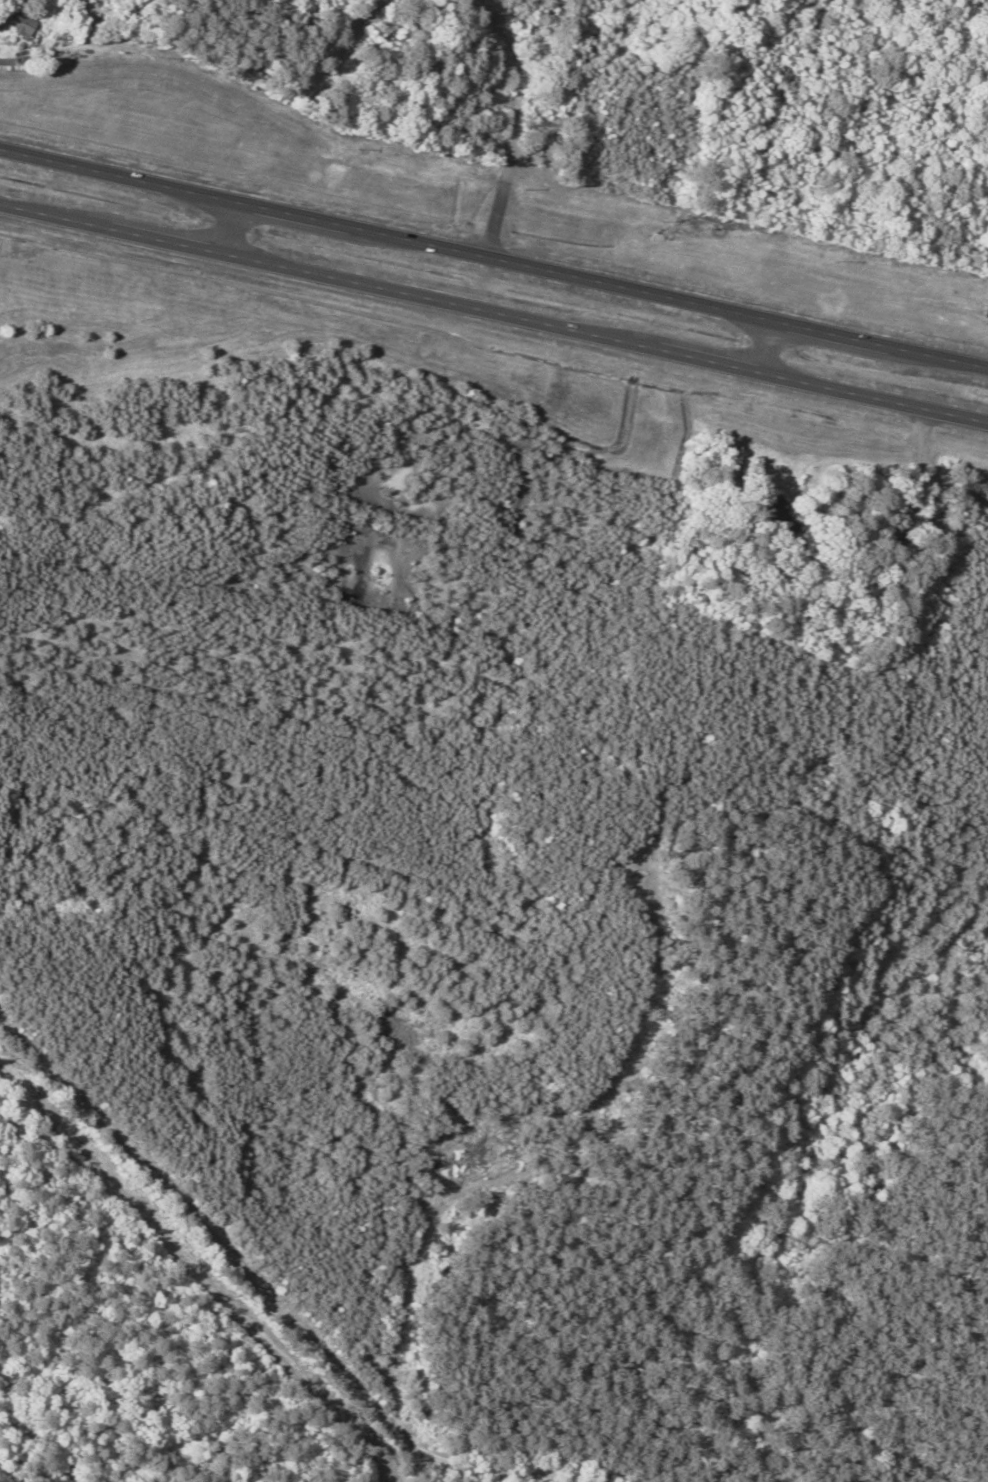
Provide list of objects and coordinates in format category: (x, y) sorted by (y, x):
building: (18, 21)
road: (506, 129)
road: (226, 228)
road: (494, 259)
road: (494, 313)
road: (760, 345)
building: (782, 520)
road: (264, 1299)

